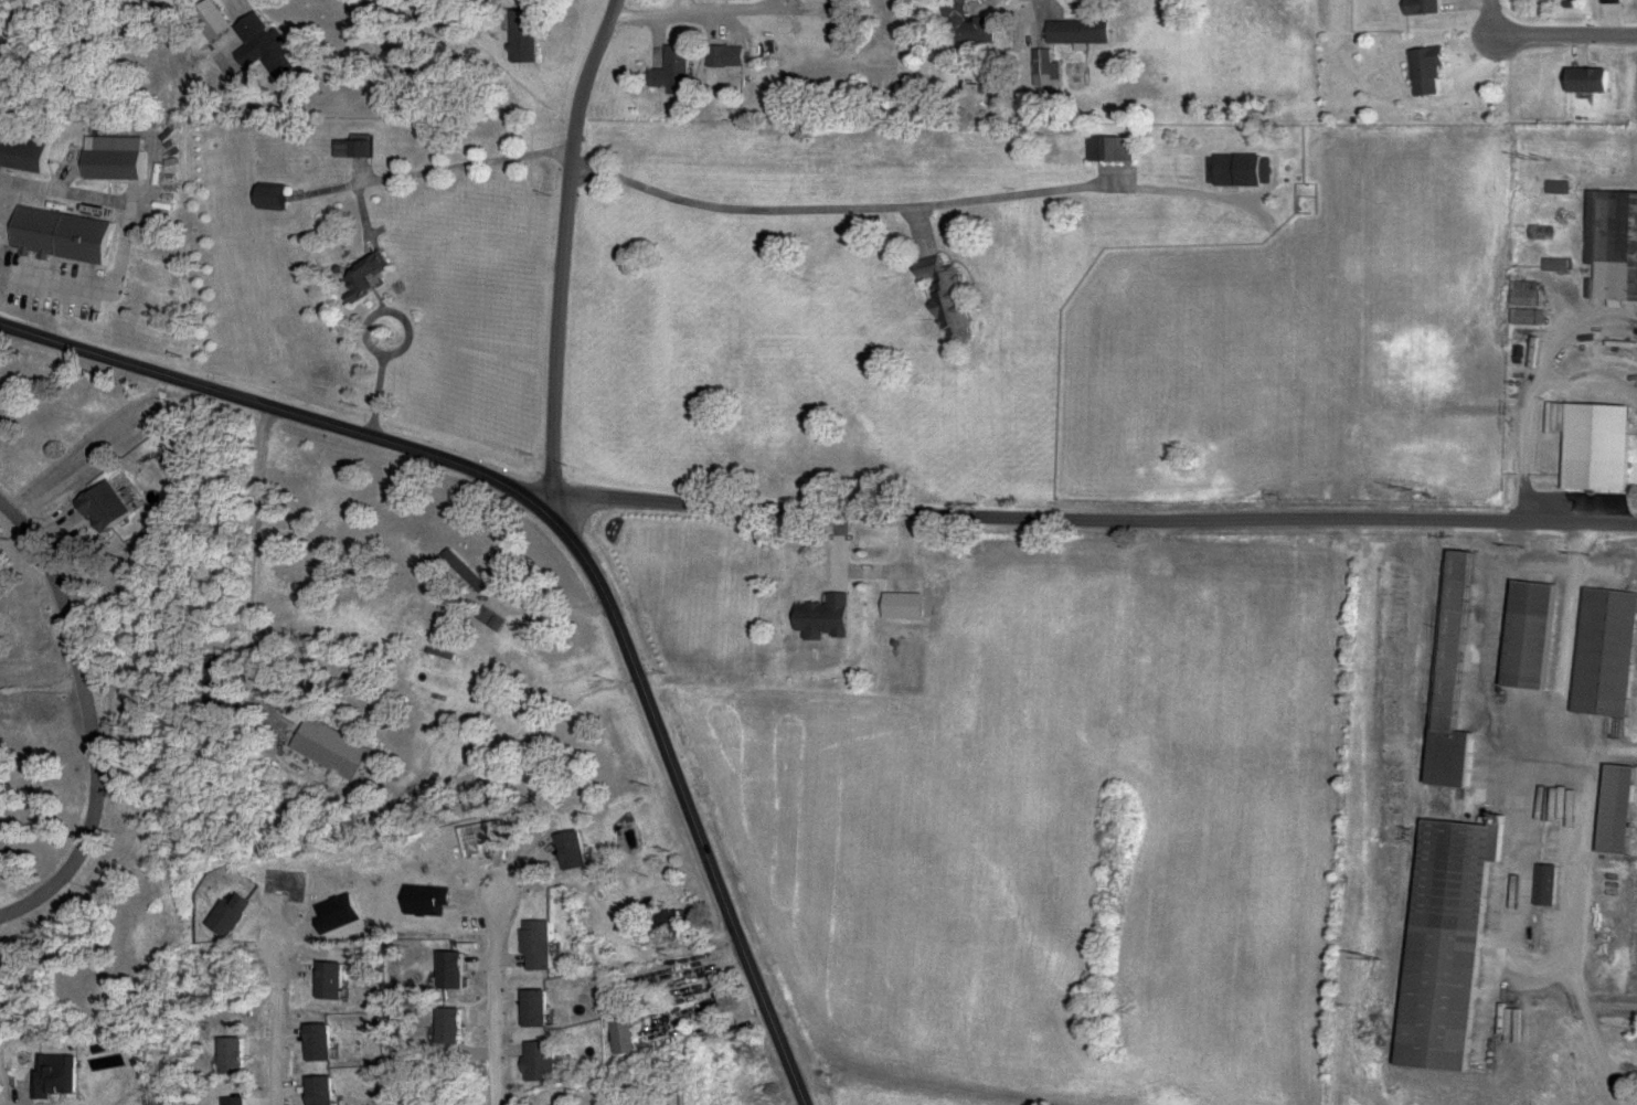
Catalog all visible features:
building: (1417, 7)
road: (698, 17)
building: (963, 25)
building: (1073, 32)
road: (1545, 33)
building: (525, 36)
building: (268, 47)
building: (712, 57)
building: (1039, 61)
building: (669, 71)
building: (1422, 71)
building: (1581, 79)
building: (358, 150)
building: (1106, 150)
building: (25, 155)
building: (118, 159)
road: (466, 167)
building: (1234, 172)
building: (278, 199)
road: (921, 209)
building: (70, 236)
building: (1609, 243)
road: (562, 252)
building: (1544, 264)
building: (371, 278)
building: (947, 299)
road: (376, 319)
road: (379, 397)
road: (1529, 421)
building: (1590, 447)
building: (110, 506)
road: (1094, 518)
road: (572, 534)
building: (465, 572)
building: (831, 617)
building: (1522, 635)
building: (1599, 652)
building: (1445, 676)
road: (86, 720)
building: (334, 748)
building: (1608, 809)
road: (1584, 817)
building: (580, 851)
building: (1540, 885)
building: (678, 923)
building: (1439, 943)
building: (544, 945)
building: (460, 970)
building: (338, 980)
road: (498, 1001)
building: (545, 1009)
building: (633, 1030)
road: (277, 1031)
building: (322, 1043)
building: (549, 1062)
building: (59, 1075)
road: (917, 1081)
building: (326, 1091)

